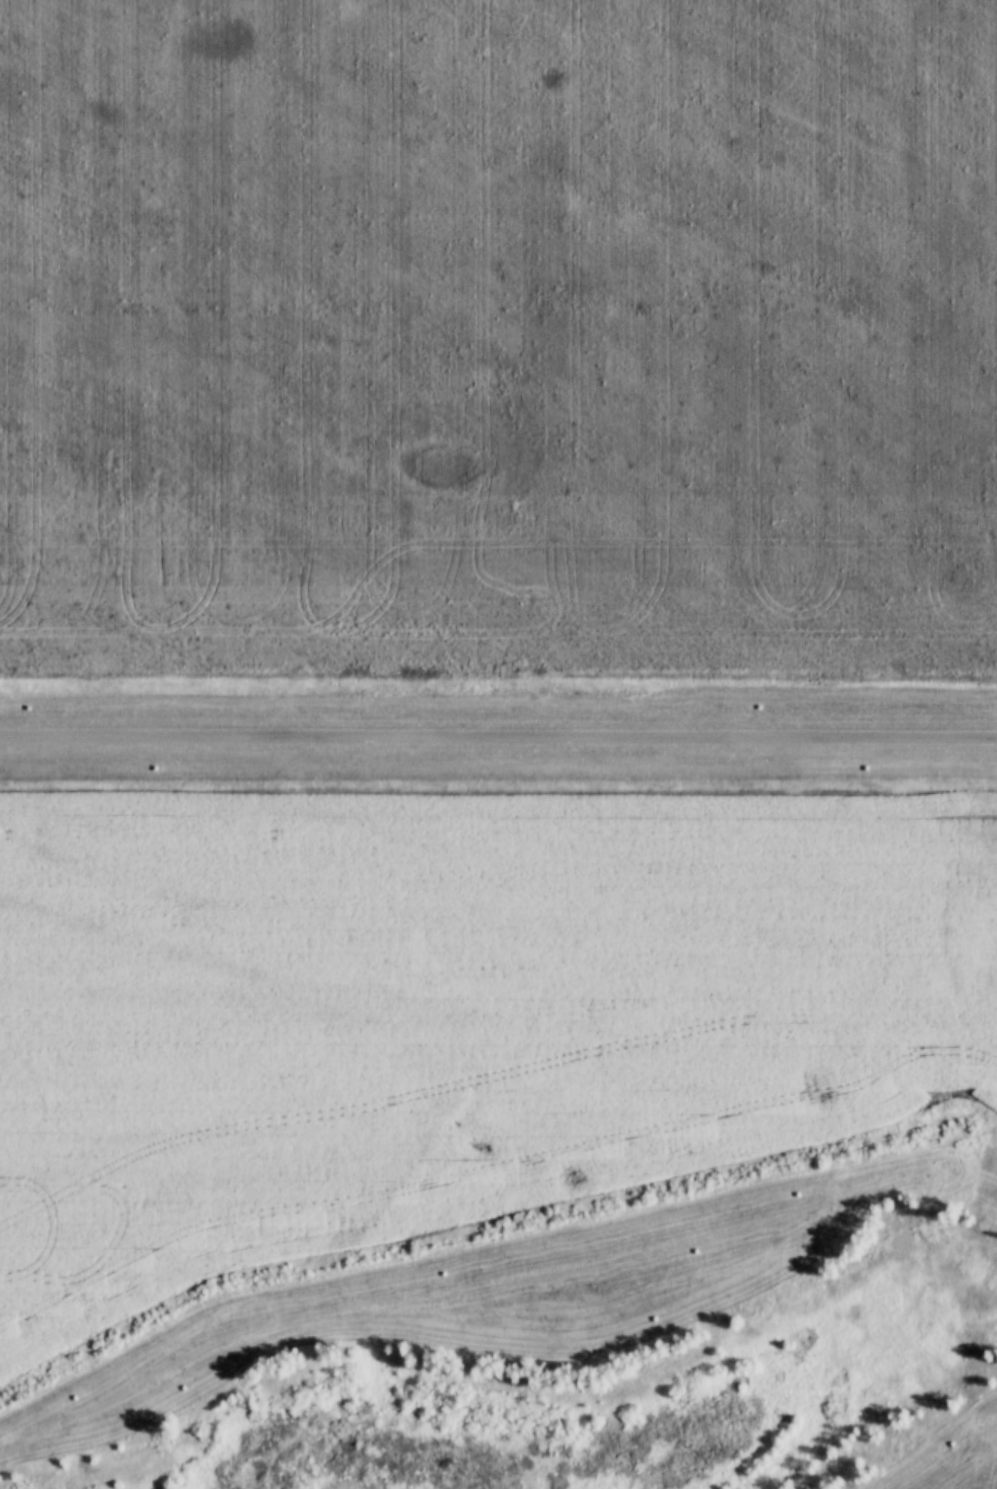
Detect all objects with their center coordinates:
road: (498, 731)

